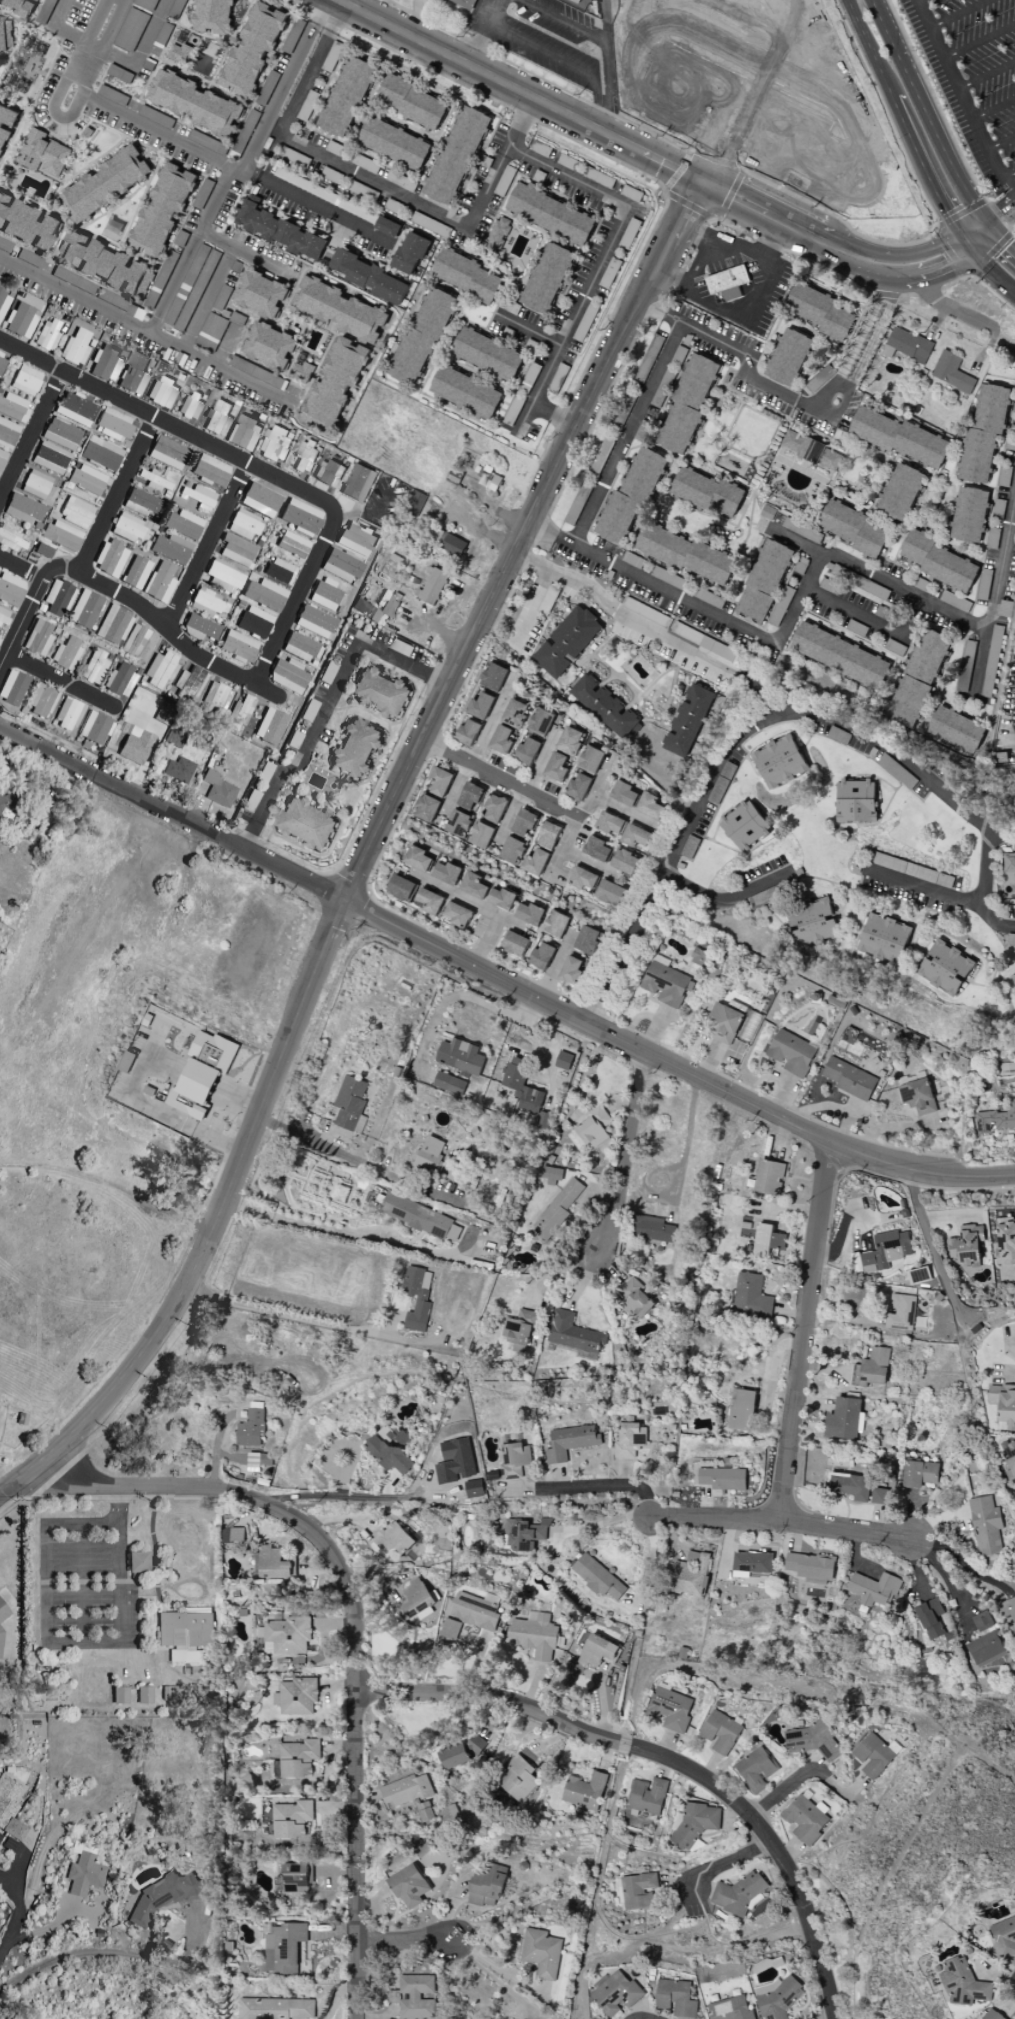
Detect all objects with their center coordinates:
building: (575, 1)
building: (465, 3)
building: (146, 4)
park: (692, 4)
building: (18, 6)
track: (691, 6)
building: (176, 7)
building: (44, 11)
road: (58, 12)
road: (12, 13)
road: (958, 13)
building: (216, 15)
road: (418, 19)
road: (562, 21)
road: (604, 21)
road: (462, 22)
building: (130, 29)
road: (482, 32)
road: (71, 33)
building: (5, 34)
road: (20, 34)
parking lot: (550, 40)
road: (979, 40)
building: (256, 42)
road: (141, 46)
road: (539, 48)
road: (866, 49)
building: (178, 53)
road: (308, 67)
road: (654, 68)
road: (607, 74)
road: (987, 74)
building: (266, 87)
road: (959, 88)
road: (595, 90)
road: (278, 91)
building: (346, 96)
building: (411, 101)
building: (198, 103)
building: (307, 105)
road: (994, 108)
road: (764, 110)
road: (594, 115)
road: (924, 115)
building: (7, 117)
road: (64, 117)
road: (21, 119)
road: (150, 128)
road: (598, 130)
building: (245, 131)
parking lot: (781, 139)
road: (1001, 142)
building: (393, 143)
building: (335, 149)
building: (42, 153)
building: (457, 153)
building: (363, 162)
road: (791, 162)
road: (707, 168)
road: (922, 172)
road: (1009, 174)
building: (598, 177)
building: (109, 180)
building: (399, 180)
road: (1009, 185)
building: (360, 190)
building: (168, 203)
road: (311, 205)
road: (997, 210)
road: (434, 211)
building: (550, 214)
building: (30, 223)
road: (1002, 223)
building: (429, 224)
road: (674, 225)
building: (387, 226)
traffic signals: (987, 227)
building: (279, 229)
road: (976, 234)
building: (627, 235)
building: (500, 236)
road: (723, 239)
road: (1001, 239)
traffic signals: (966, 241)
road: (221, 242)
road: (961, 244)
building: (5, 246)
road: (909, 249)
building: (409, 253)
building: (105, 263)
road: (928, 264)
road: (879, 265)
building: (235, 266)
road: (601, 266)
road: (988, 270)
building: (608, 272)
building: (466, 276)
building: (369, 277)
building: (546, 277)
building: (160, 278)
road: (892, 279)
building: (726, 282)
road: (175, 283)
road: (645, 284)
building: (191, 287)
building: (93, 291)
building: (259, 294)
building: (221, 296)
road: (209, 299)
building: (3, 301)
road: (652, 305)
road: (945, 305)
building: (339, 309)
building: (819, 311)
road: (741, 312)
road: (674, 317)
building: (20, 321)
road: (146, 331)
building: (210, 331)
road: (528, 332)
road: (861, 333)
building: (46, 336)
building: (421, 336)
road: (870, 339)
building: (906, 345)
building: (269, 346)
building: (75, 348)
building: (487, 354)
building: (680, 355)
building: (787, 356)
road: (747, 357)
building: (647, 358)
building: (2, 362)
building: (105, 364)
building: (300, 371)
building: (951, 372)
building: (134, 374)
building: (819, 377)
building: (666, 379)
building: (25, 381)
building: (333, 385)
building: (465, 392)
building: (162, 393)
road: (820, 400)
building: (686, 402)
building: (189, 405)
building: (1014, 406)
building: (13, 408)
building: (75, 410)
building: (622, 412)
road: (554, 414)
building: (217, 418)
building: (113, 425)
building: (641, 429)
road: (173, 430)
road: (627, 432)
building: (243, 433)
building: (983, 433)
building: (7, 434)
building: (61, 435)
road: (30, 437)
building: (899, 437)
building: (274, 443)
building: (811, 450)
building: (167, 453)
building: (101, 454)
building: (304, 455)
building: (599, 456)
building: (2, 458)
building: (49, 458)
building: (210, 472)
building: (328, 473)
building: (87, 481)
building: (357, 483)
building: (35, 485)
building: (707, 492)
building: (899, 492)
building: (261, 497)
road: (117, 498)
building: (198, 498)
building: (629, 498)
building: (416, 499)
building: (140, 503)
building: (576, 504)
building: (22, 509)
building: (767, 512)
building: (76, 513)
building: (969, 514)
building: (300, 517)
building: (183, 525)
building: (244, 525)
building: (127, 528)
road: (541, 528)
building: (802, 529)
building: (854, 529)
building: (61, 536)
building: (991, 537)
road: (564, 539)
road: (796, 539)
building: (356, 540)
building: (13, 541)
building: (292, 545)
building: (452, 545)
building: (170, 549)
road: (205, 549)
building: (43, 551)
building: (237, 551)
building: (684, 553)
building: (110, 558)
road: (817, 561)
building: (938, 561)
building: (341, 566)
building: (279, 572)
building: (135, 573)
building: (225, 576)
building: (763, 580)
building: (159, 584)
building: (864, 584)
building: (982, 584)
building: (431, 585)
building: (11, 590)
building: (324, 595)
building: (264, 596)
building: (707, 597)
building: (58, 598)
building: (207, 603)
building: (390, 604)
road: (532, 604)
building: (779, 605)
road: (292, 607)
building: (1004, 608)
building: (85, 609)
building: (365, 610)
road: (142, 611)
road: (620, 612)
building: (3, 617)
road: (872, 619)
building: (254, 623)
building: (316, 623)
road: (21, 626)
building: (113, 626)
building: (201, 627)
building: (855, 627)
building: (38, 639)
building: (134, 641)
building: (566, 641)
building: (400, 646)
building: (237, 647)
building: (302, 647)
building: (66, 654)
building: (839, 655)
road: (978, 655)
building: (990, 661)
building: (964, 666)
building: (94, 668)
building: (160, 670)
building: (327, 672)
building: (288, 676)
road: (428, 676)
building: (493, 676)
building: (917, 678)
building: (120, 681)
road: (62, 684)
building: (188, 685)
building: (12, 688)
building: (379, 692)
building: (788, 696)
building: (215, 697)
building: (41, 702)
building: (480, 705)
building: (604, 706)
road: (325, 712)
building: (515, 713)
building: (68, 714)
building: (238, 715)
building: (162, 716)
building: (688, 720)
building: (540, 721)
building: (270, 727)
building: (94, 728)
building: (955, 729)
building: (467, 732)
building: (175, 738)
building: (500, 739)
road: (735, 739)
building: (294, 740)
building: (570, 740)
building: (134, 745)
building: (355, 749)
building: (527, 750)
building: (590, 759)
building: (778, 761)
building: (556, 765)
building: (179, 770)
building: (895, 770)
road: (501, 779)
building: (439, 781)
building: (721, 782)
building: (577, 786)
building: (218, 790)
building: (623, 793)
building: (469, 795)
building: (855, 800)
building: (649, 805)
building: (493, 807)
building: (7, 808)
building: (425, 808)
road: (581, 819)
building: (523, 822)
building: (456, 823)
building: (608, 823)
building: (305, 824)
building: (744, 825)
building: (479, 834)
building: (548, 834)
building: (634, 835)
road: (249, 836)
building: (595, 848)
building: (511, 849)
building: (418, 858)
building: (623, 861)
building: (1008, 861)
building: (534, 862)
building: (909, 869)
building: (447, 872)
building: (581, 878)
building: (474, 885)
building: (401, 887)
building: (608, 892)
road: (725, 896)
building: (502, 898)
road: (958, 898)
building: (759, 900)
building: (430, 901)
road: (481, 907)
road: (338, 912)
building: (529, 913)
building: (458, 914)
road: (993, 920)
building: (555, 923)
building: (812, 923)
building: (884, 938)
building: (586, 939)
building: (1010, 939)
building: (514, 943)
building: (541, 956)
building: (699, 956)
building: (945, 967)
road: (556, 968)
building: (571, 970)
building: (1013, 978)
building: (663, 981)
road: (499, 983)
road: (451, 998)
building: (723, 1022)
road: (543, 1049)
building: (791, 1053)
building: (459, 1056)
building: (562, 1060)
building: (1007, 1068)
building: (201, 1073)
building: (849, 1078)
building: (449, 1083)
building: (520, 1085)
building: (917, 1096)
building: (349, 1104)
building: (939, 1110)
building: (542, 1118)
building: (995, 1120)
building: (593, 1127)
building: (429, 1155)
road: (625, 1155)
road: (358, 1160)
road: (674, 1166)
building: (457, 1174)
building: (550, 1174)
building: (768, 1177)
building: (556, 1209)
building: (419, 1216)
road: (926, 1219)
building: (652, 1228)
road: (351, 1234)
building: (767, 1239)
building: (1005, 1243)
building: (966, 1245)
building: (882, 1251)
road: (581, 1279)
building: (751, 1296)
building: (416, 1297)
building: (634, 1299)
building: (900, 1312)
road: (287, 1313)
building: (518, 1331)
building: (572, 1332)
road: (803, 1332)
building: (870, 1368)
building: (1003, 1405)
building: (741, 1409)
building: (842, 1417)
building: (251, 1426)
building: (629, 1439)
building: (569, 1441)
building: (389, 1452)
building: (514, 1459)
building: (252, 1461)
building: (454, 1461)
building: (1009, 1463)
building: (919, 1473)
building: (722, 1478)
road: (589, 1485)
building: (849, 1485)
road: (1, 1491)
road: (357, 1495)
building: (878, 1496)
road: (599, 1521)
road: (778, 1521)
building: (985, 1525)
building: (522, 1533)
building: (232, 1534)
building: (393, 1538)
road: (158, 1559)
building: (752, 1561)
building: (272, 1563)
building: (141, 1565)
building: (810, 1566)
building: (690, 1573)
road: (942, 1575)
building: (596, 1576)
road: (85, 1584)
road: (99, 1584)
parking lot: (87, 1586)
building: (873, 1589)
building: (415, 1598)
road: (150, 1600)
building: (1007, 1608)
building: (473, 1611)
building: (3, 1612)
road: (158, 1616)
building: (930, 1617)
road: (353, 1628)
building: (449, 1628)
building: (287, 1632)
building: (188, 1634)
building: (533, 1635)
road: (156, 1636)
road: (68, 1644)
building: (986, 1644)
road: (167, 1651)
building: (598, 1651)
building: (174, 1695)
building: (147, 1696)
building: (295, 1696)
building: (123, 1697)
road: (493, 1699)
building: (669, 1708)
building: (719, 1731)
building: (812, 1739)
building: (475, 1740)
building: (453, 1755)
building: (872, 1755)
building: (296, 1759)
building: (754, 1769)
building: (516, 1778)
road: (782, 1786)
building: (584, 1791)
building: (409, 1794)
building: (646, 1795)
building: (9, 1810)
building: (804, 1818)
building: (291, 1819)
building: (693, 1824)
road: (775, 1846)
road: (739, 1856)
building: (84, 1874)
building: (296, 1878)
building: (409, 1886)
building: (487, 1886)
building: (637, 1890)
building: (737, 1895)
building: (164, 1896)
road: (17, 1914)
building: (1003, 1937)
road: (403, 1940)
building: (282, 1947)
road: (113, 1952)
building: (541, 1952)
road: (498, 1969)
road: (491, 1979)
building: (962, 1983)
road: (1011, 1985)
building: (614, 1992)
building: (413, 1996)
building: (674, 1997)
building: (776, 2000)
building: (275, 2008)
building: (734, 2009)
road: (640, 2014)
building: (991, 2014)
building: (515, 2018)

